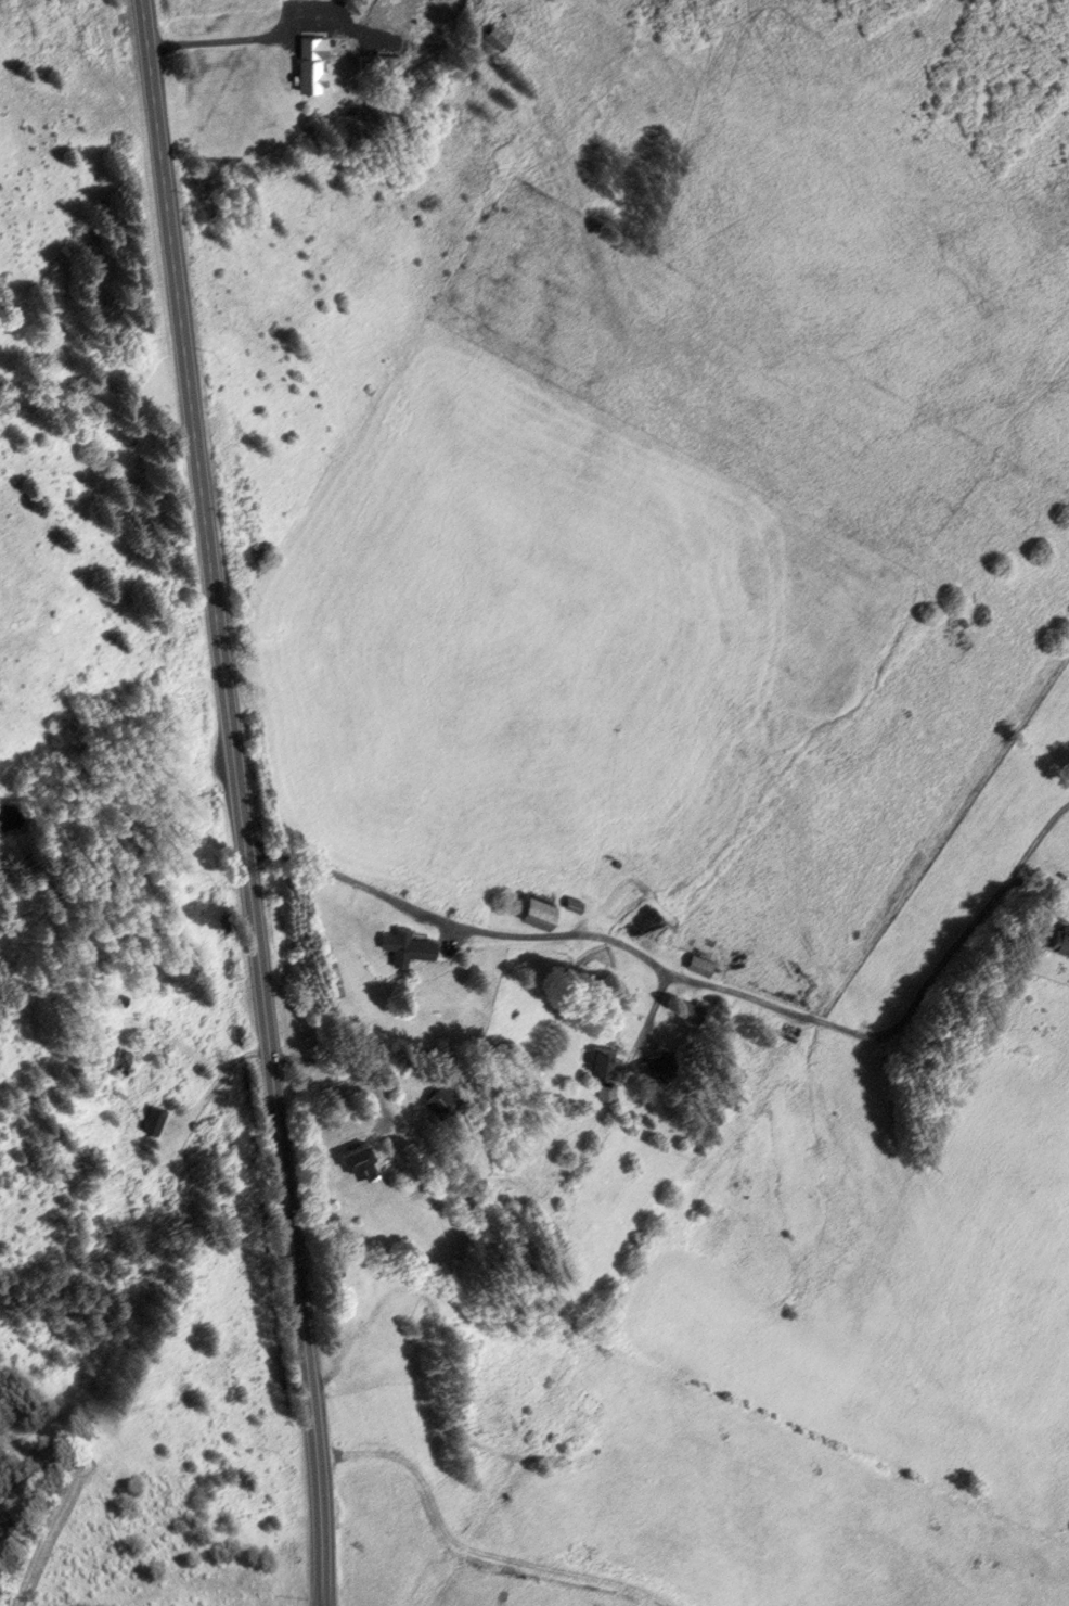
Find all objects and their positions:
building: (495, 37)
building: (310, 64)
road: (239, 802)
building: (571, 905)
building: (538, 913)
building: (1058, 939)
building: (409, 947)
building: (698, 961)
building: (788, 1034)
building: (597, 1061)
building: (121, 1062)
building: (606, 1093)
building: (153, 1121)
building: (353, 1159)

